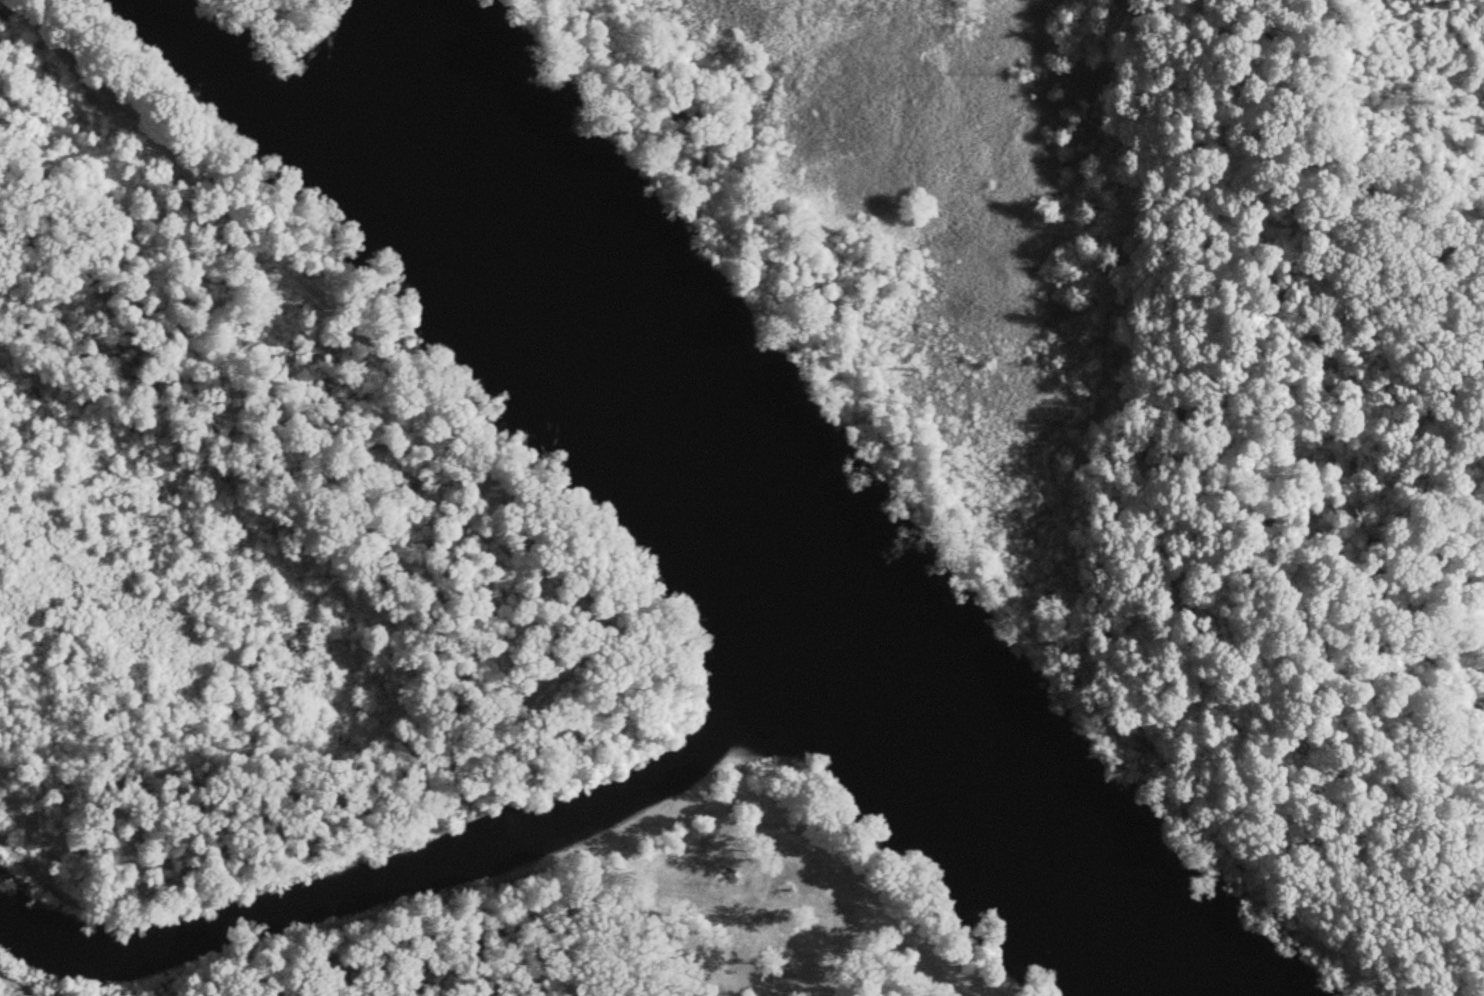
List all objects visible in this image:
river: (768, 523)
road: (552, 568)
road: (34, 990)

